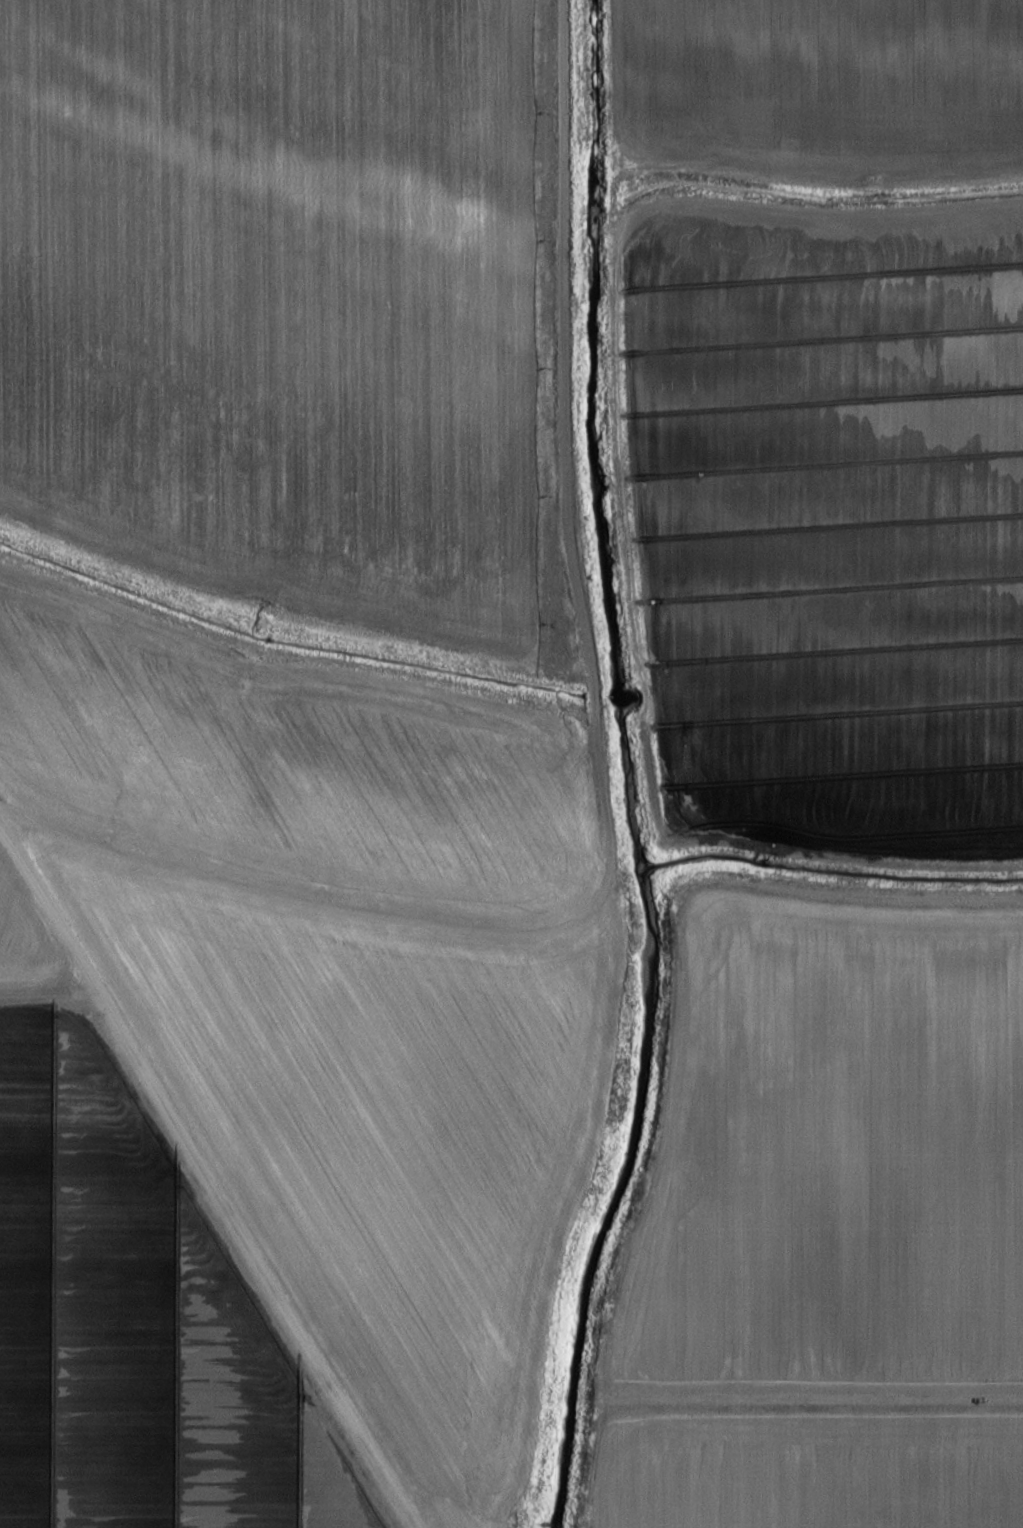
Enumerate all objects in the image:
road: (598, 767)
road: (201, 1181)

